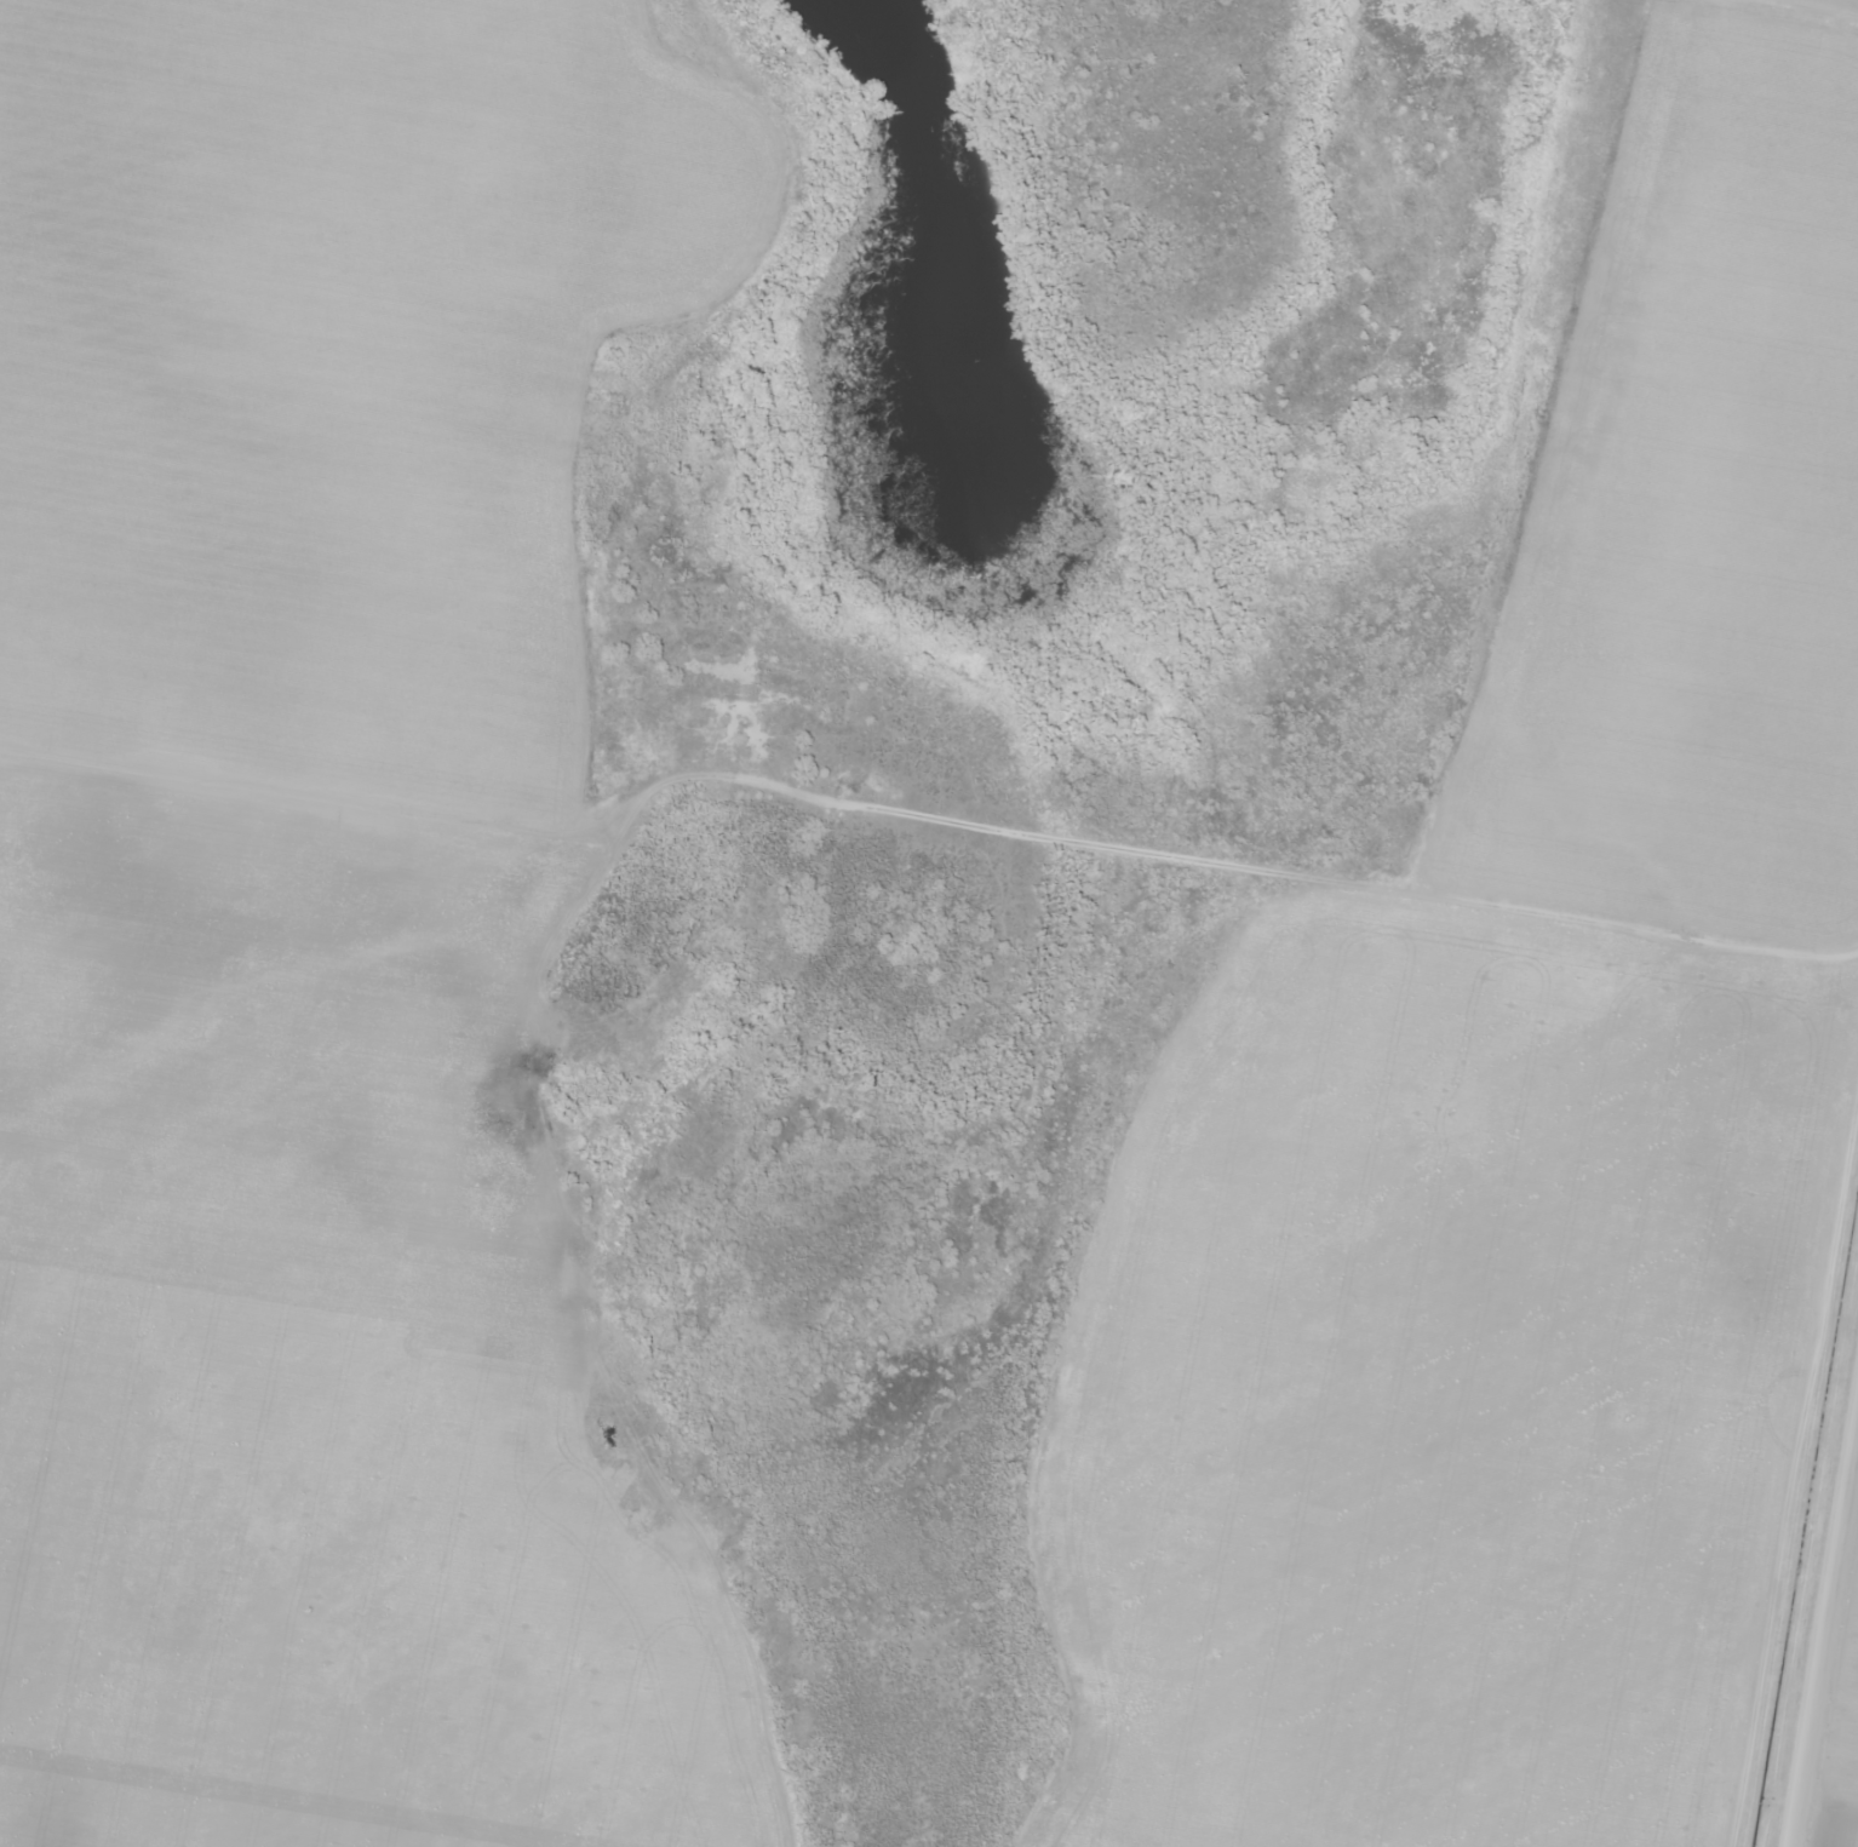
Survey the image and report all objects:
road: (1681, 27)
road: (1824, 1627)
road: (1828, 1814)

